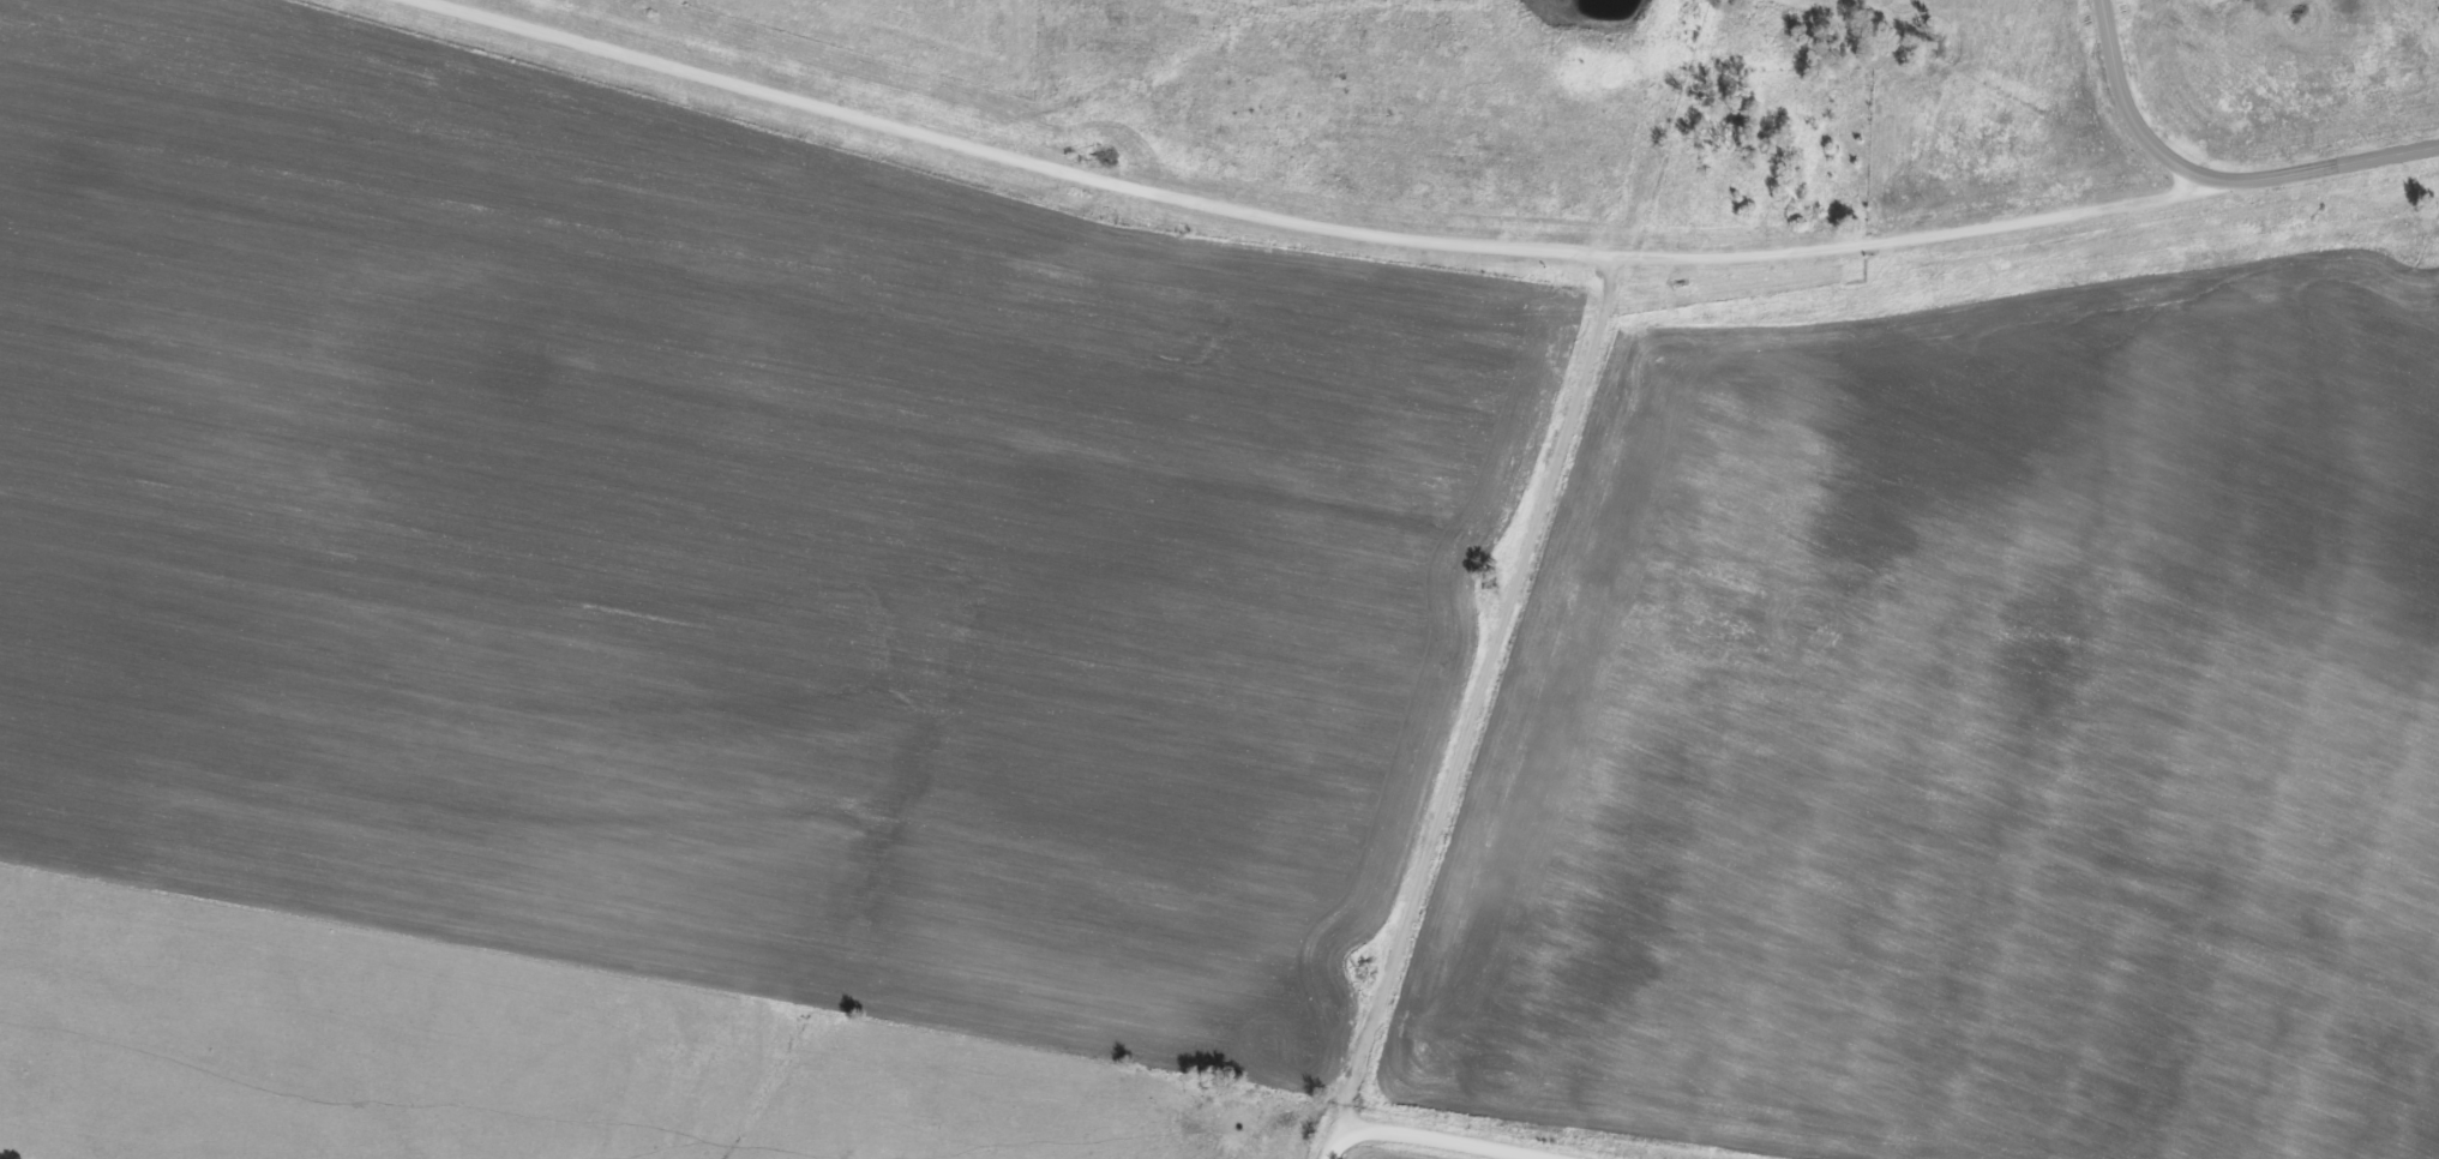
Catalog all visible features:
road: (795, 98)
road: (2125, 106)
road: (1798, 251)
road: (1495, 668)
road: (1443, 1139)
road: (1338, 1152)

